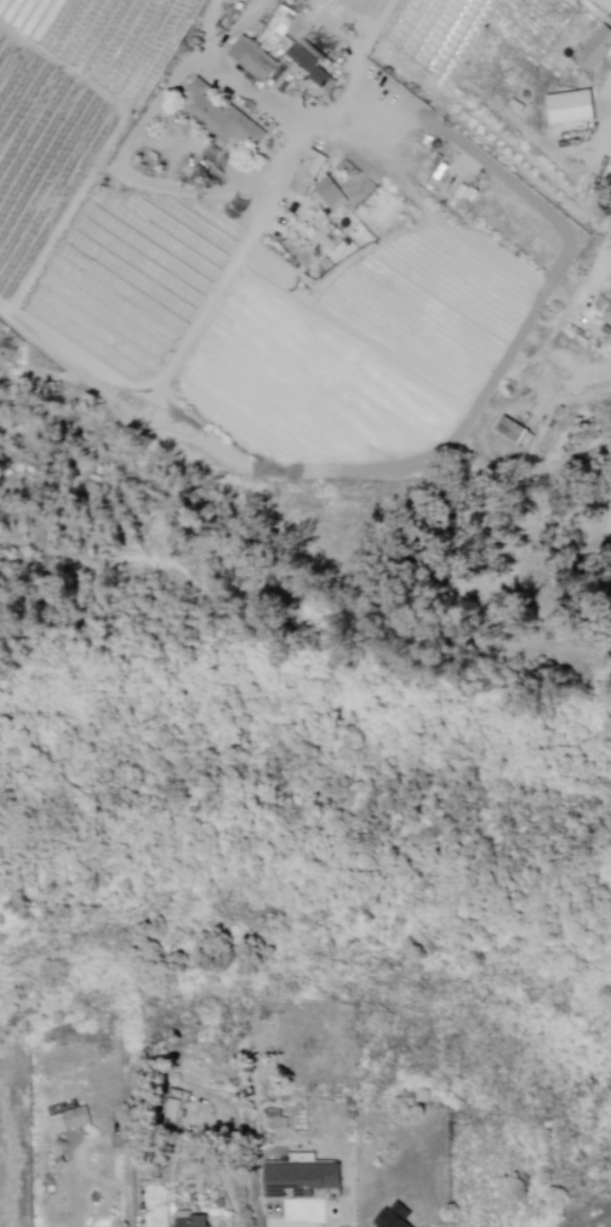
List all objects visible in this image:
crop: (356, 7)
building: (280, 25)
crop: (455, 41)
building: (596, 51)
building: (253, 59)
building: (309, 65)
building: (572, 109)
building: (219, 116)
building: (309, 172)
crop: (98, 188)
building: (332, 196)
road: (601, 199)
road: (227, 284)
building: (607, 316)
road: (50, 343)
building: (516, 434)
building: (350, 1102)
building: (175, 1109)
building: (353, 1115)
building: (76, 1117)
building: (274, 1122)
building: (303, 1175)
road: (137, 1194)
building: (393, 1216)
building: (190, 1219)

